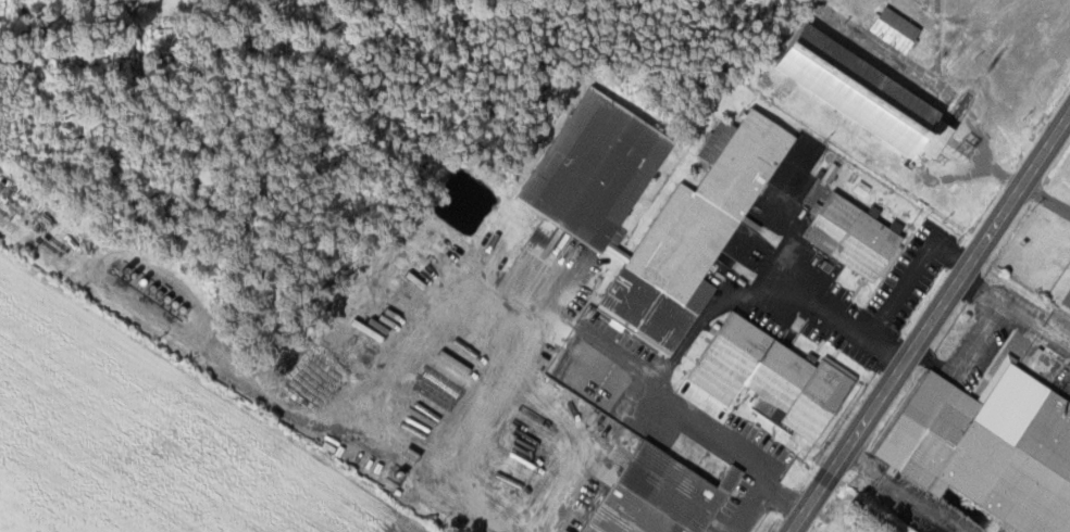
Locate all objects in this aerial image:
building: (867, 94)
building: (597, 169)
building: (696, 232)
building: (854, 237)
road: (929, 321)
building: (772, 375)
building: (990, 447)
building: (661, 495)

